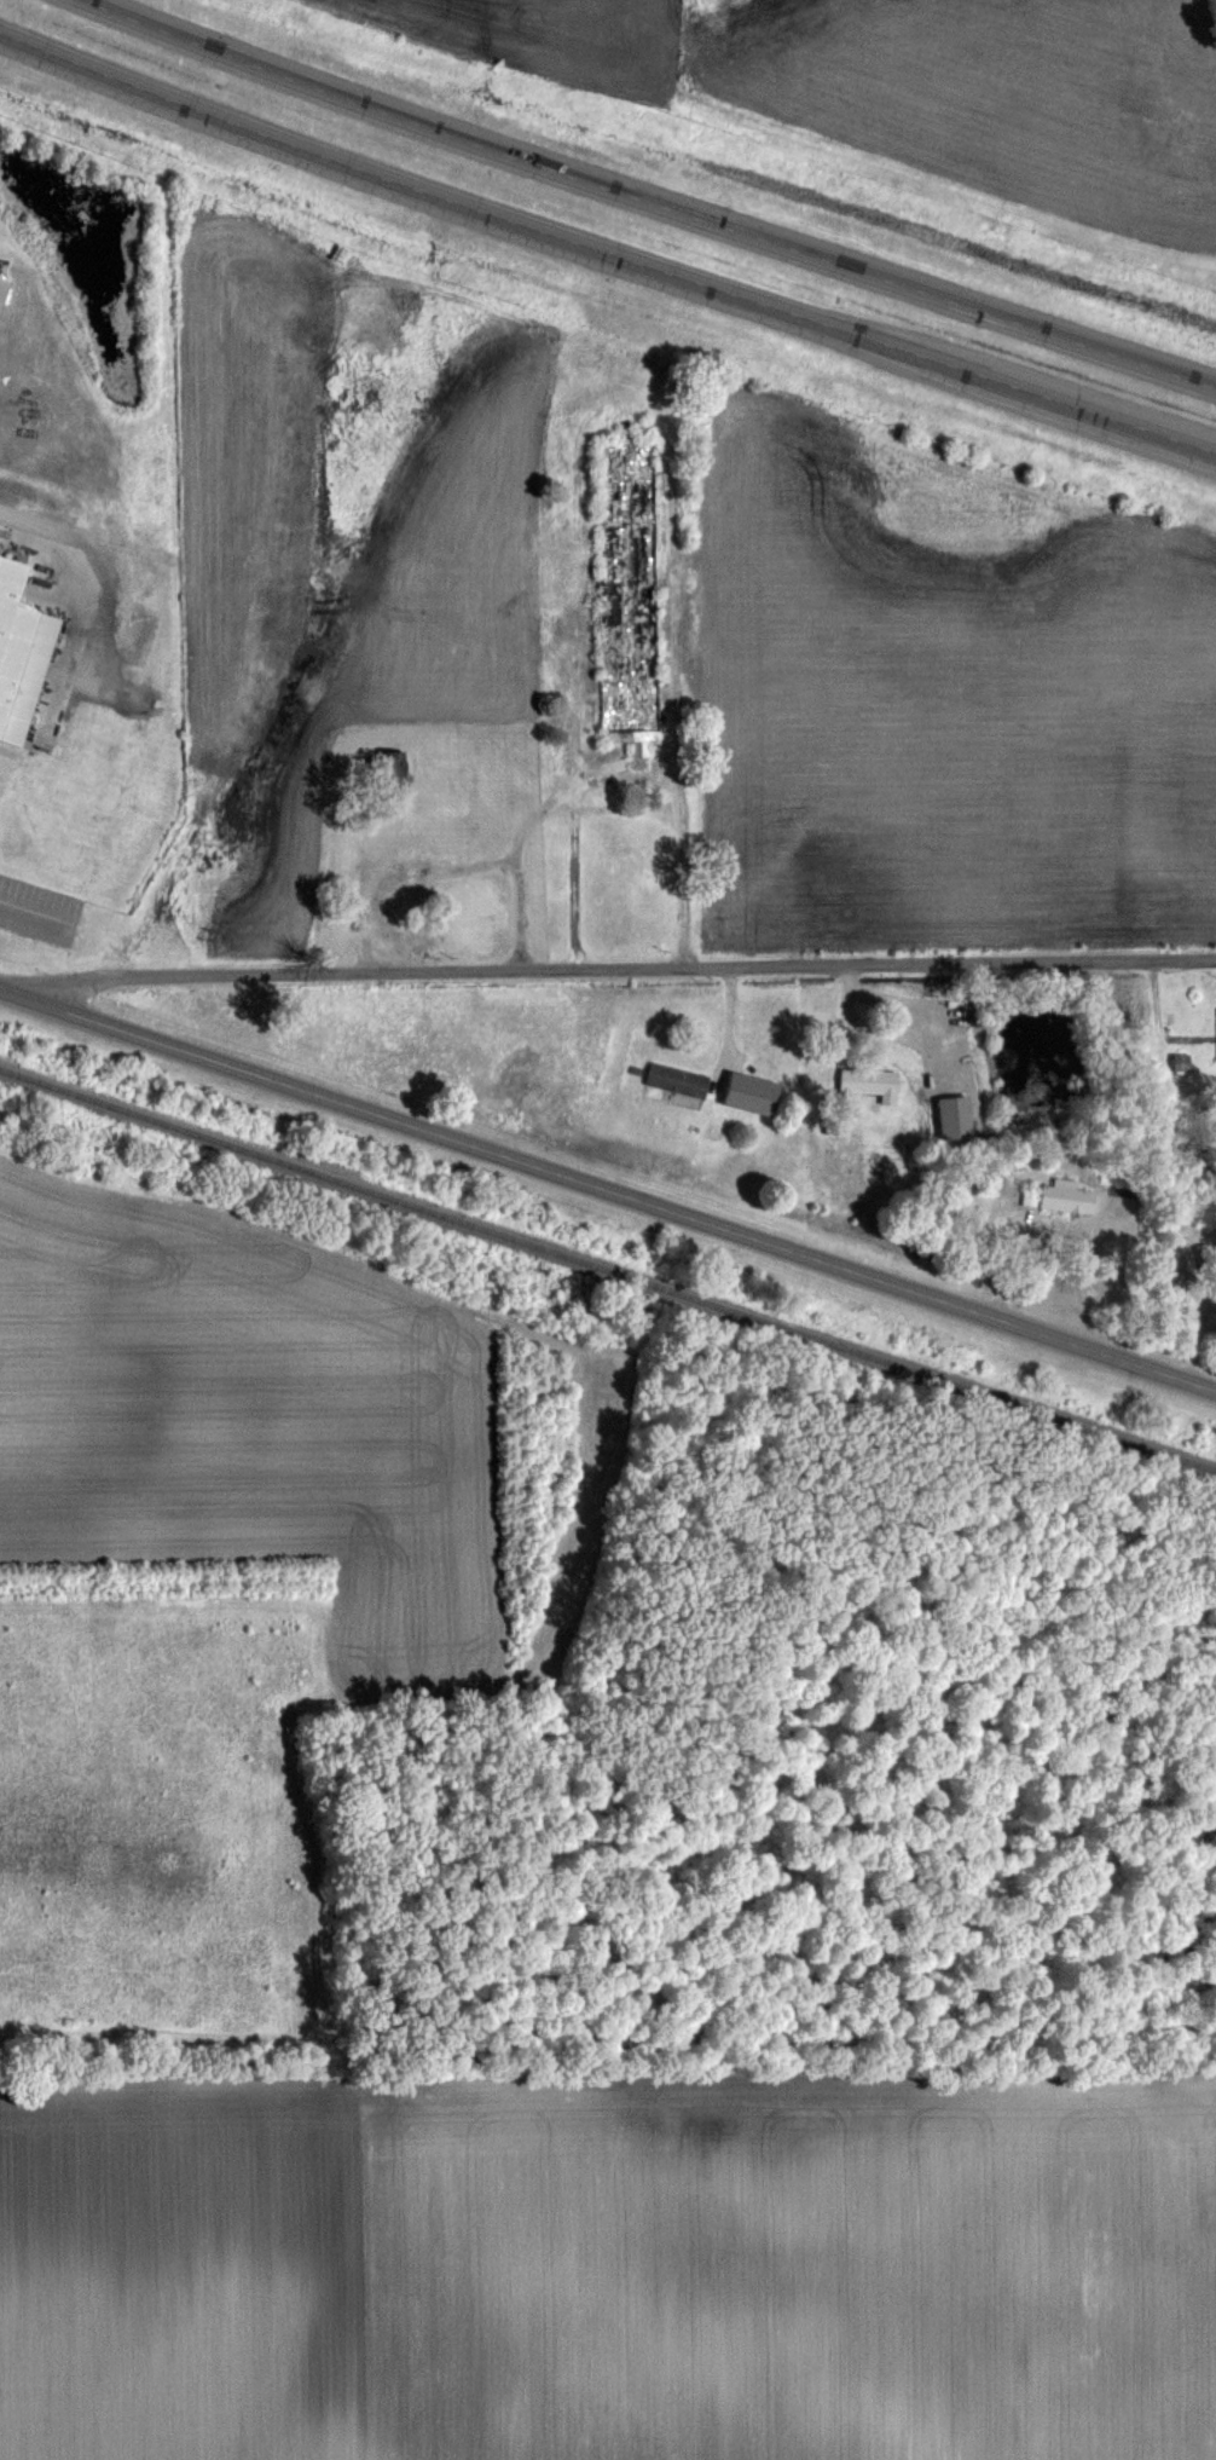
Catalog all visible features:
road: (648, 200)
road: (604, 249)
road: (31, 509)
building: (4, 573)
building: (625, 588)
building: (18, 662)
building: (389, 770)
building: (395, 891)
road: (22, 902)
road: (623, 966)
building: (672, 1078)
building: (863, 1078)
building: (745, 1091)
road: (607, 1186)
building: (1060, 1197)
railway: (607, 1269)

